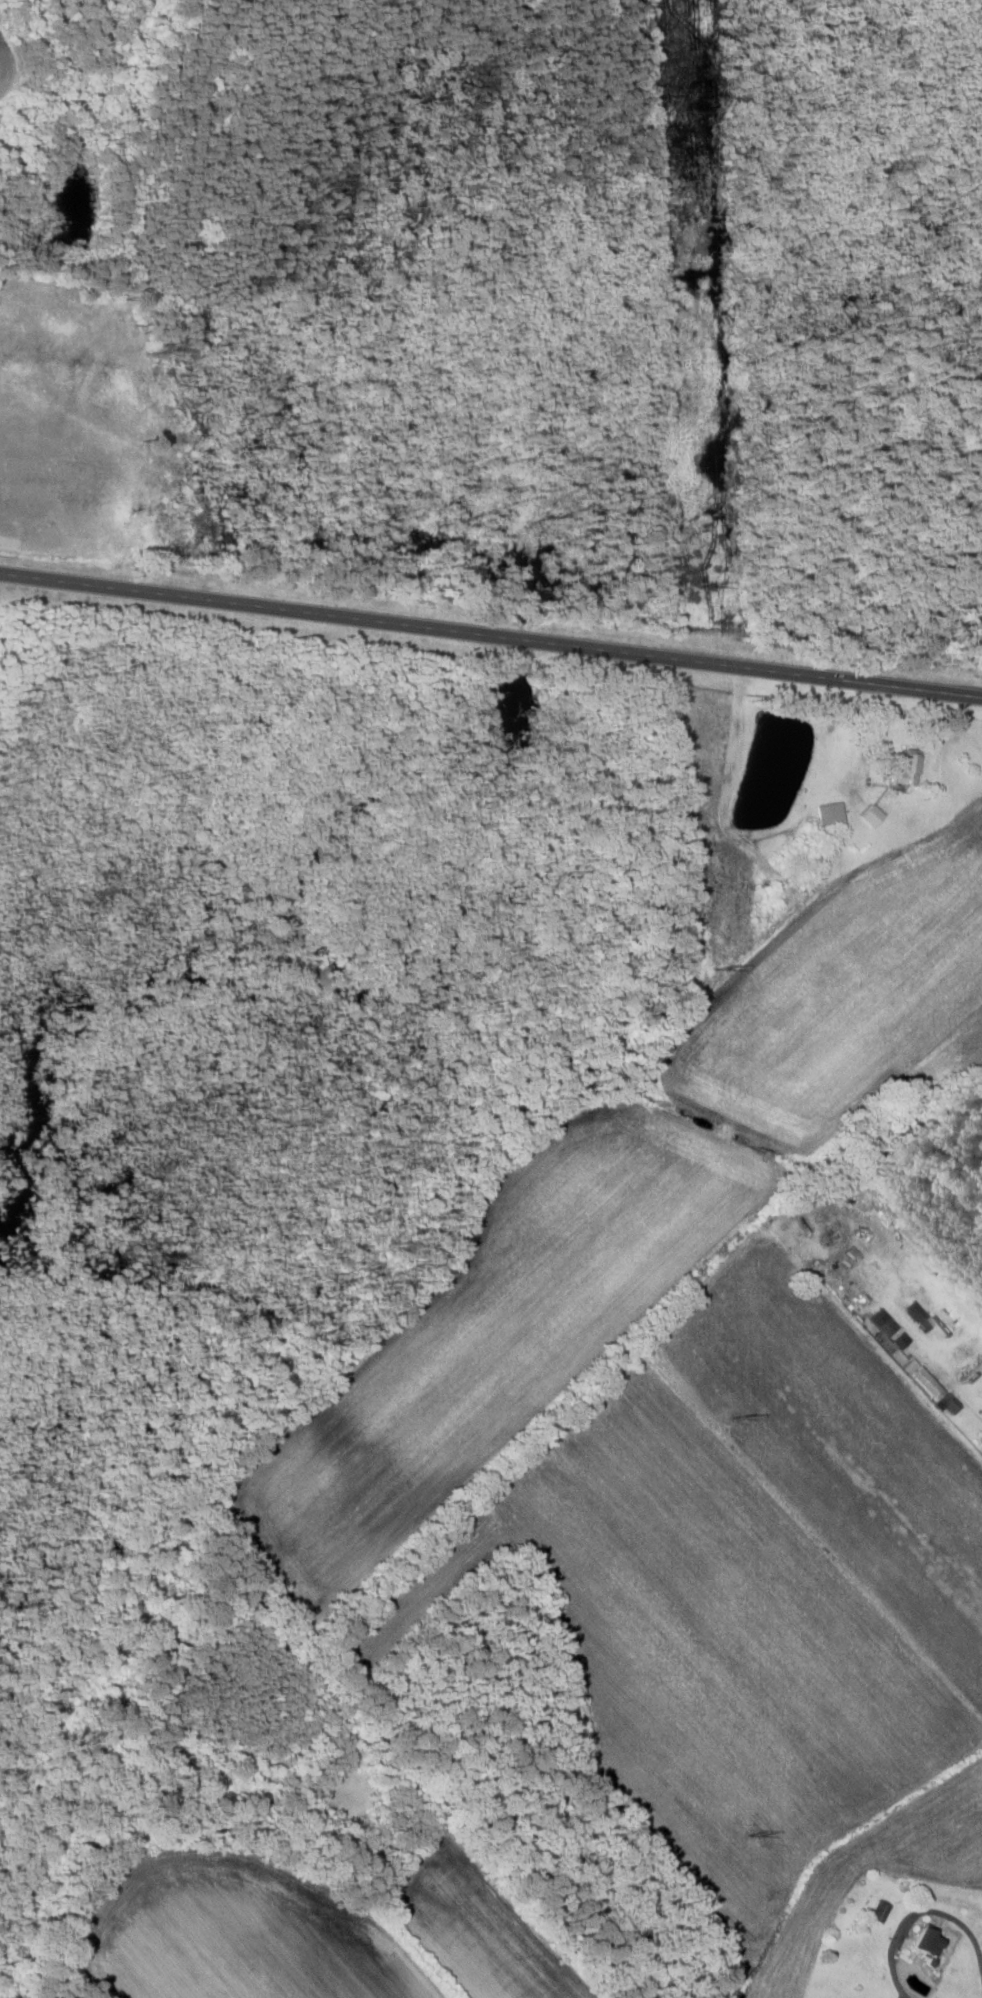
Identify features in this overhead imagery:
power tower: (695, 110)
power tower: (718, 587)
road: (490, 637)
building: (909, 770)
power tower: (726, 968)
building: (921, 1316)
building: (906, 1337)
power tower: (739, 1418)
power tower: (756, 1836)
building: (880, 1912)
building: (932, 1942)

